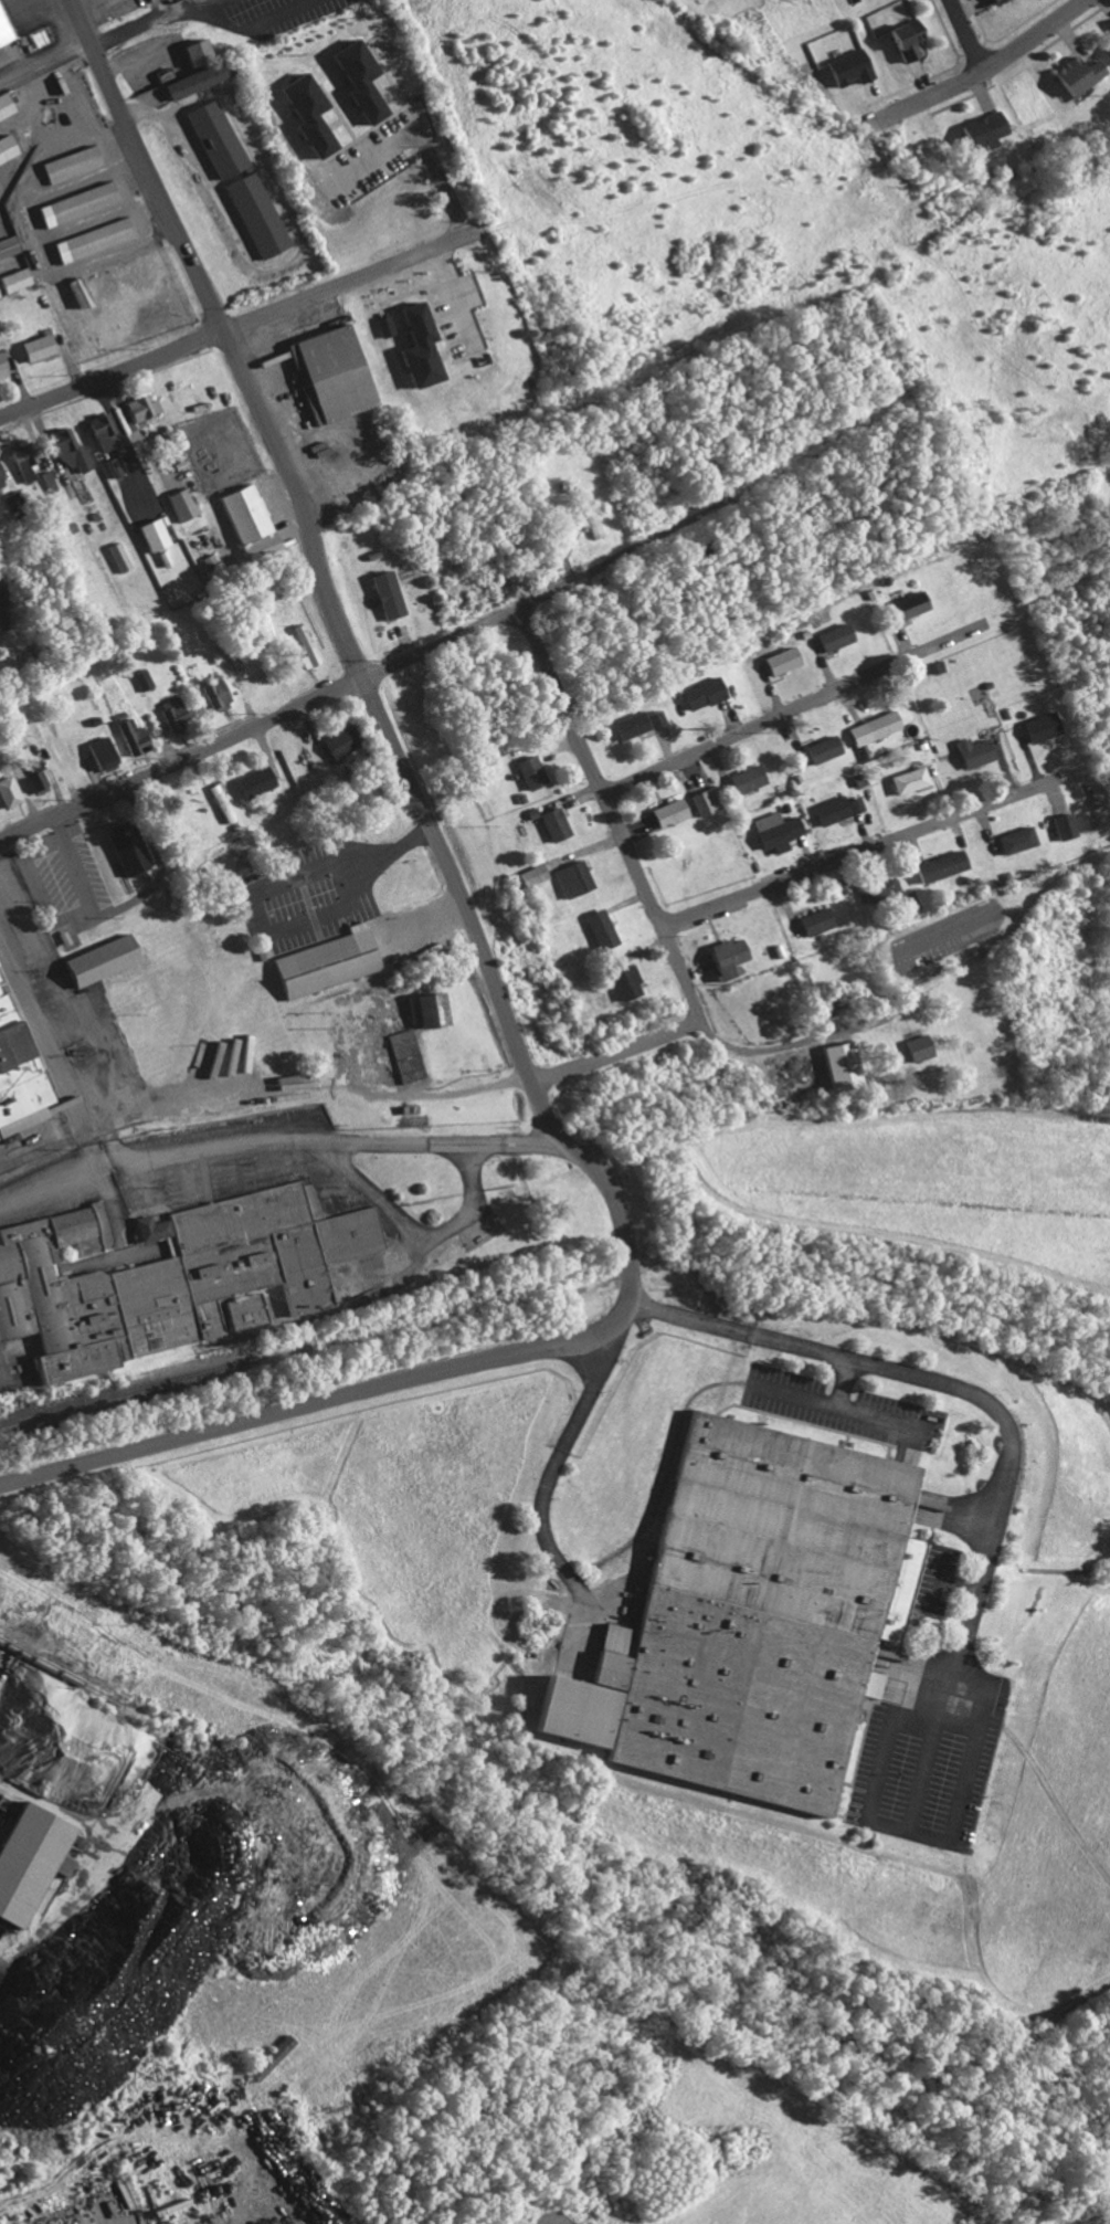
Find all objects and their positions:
building: (992, 1)
road: (214, 3)
road: (146, 23)
road: (256, 25)
building: (1109, 27)
road: (964, 33)
building: (2, 35)
building: (903, 40)
building: (1107, 49)
building: (188, 52)
road: (981, 66)
building: (846, 68)
building: (1072, 75)
building: (352, 81)
building: (184, 82)
building: (4, 106)
building: (303, 115)
building: (980, 130)
road: (422, 135)
building: (211, 139)
building: (6, 148)
building: (66, 165)
building: (73, 204)
building: (252, 215)
building: (88, 240)
building: (8, 247)
building: (14, 281)
road: (235, 323)
building: (380, 325)
road: (222, 335)
building: (411, 345)
building: (34, 347)
building: (1, 370)
building: (324, 372)
building: (139, 407)
building: (97, 430)
building: (65, 450)
building: (21, 460)
building: (112, 466)
building: (1, 477)
building: (178, 503)
building: (585, 516)
building: (245, 520)
building: (148, 534)
building: (382, 593)
building: (905, 604)
building: (829, 636)
building: (304, 645)
building: (778, 660)
building: (140, 678)
road: (350, 682)
building: (212, 692)
building: (698, 693)
building: (170, 710)
road: (780, 714)
building: (652, 718)
building: (627, 725)
building: (1037, 726)
building: (869, 728)
building: (128, 736)
building: (335, 742)
building: (818, 749)
building: (969, 751)
building: (98, 752)
building: (528, 771)
building: (31, 774)
building: (742, 779)
building: (907, 780)
building: (252, 781)
building: (7, 791)
building: (701, 801)
building: (220, 803)
building: (854, 804)
building: (827, 810)
building: (664, 812)
building: (550, 823)
building: (1061, 825)
building: (772, 830)
building: (1013, 840)
building: (123, 849)
road: (856, 852)
building: (938, 866)
building: (529, 875)
building: (571, 878)
building: (877, 887)
road: (647, 892)
building: (813, 920)
building: (598, 928)
building: (722, 957)
building: (96, 960)
building: (323, 962)
building: (622, 981)
building: (424, 1009)
road: (45, 1030)
building: (912, 1047)
road: (779, 1050)
building: (401, 1055)
building: (837, 1065)
building: (15, 1076)
road: (431, 1102)
road: (359, 1140)
road: (416, 1230)
building: (169, 1272)
road: (627, 1286)
building: (234, 1311)
road: (740, 1328)
railway: (261, 1356)
road: (848, 1384)
road: (841, 1406)
road: (556, 1465)
road: (987, 1542)
building: (746, 1606)
railway: (67, 1675)
building: (25, 1858)
building: (269, 2057)

